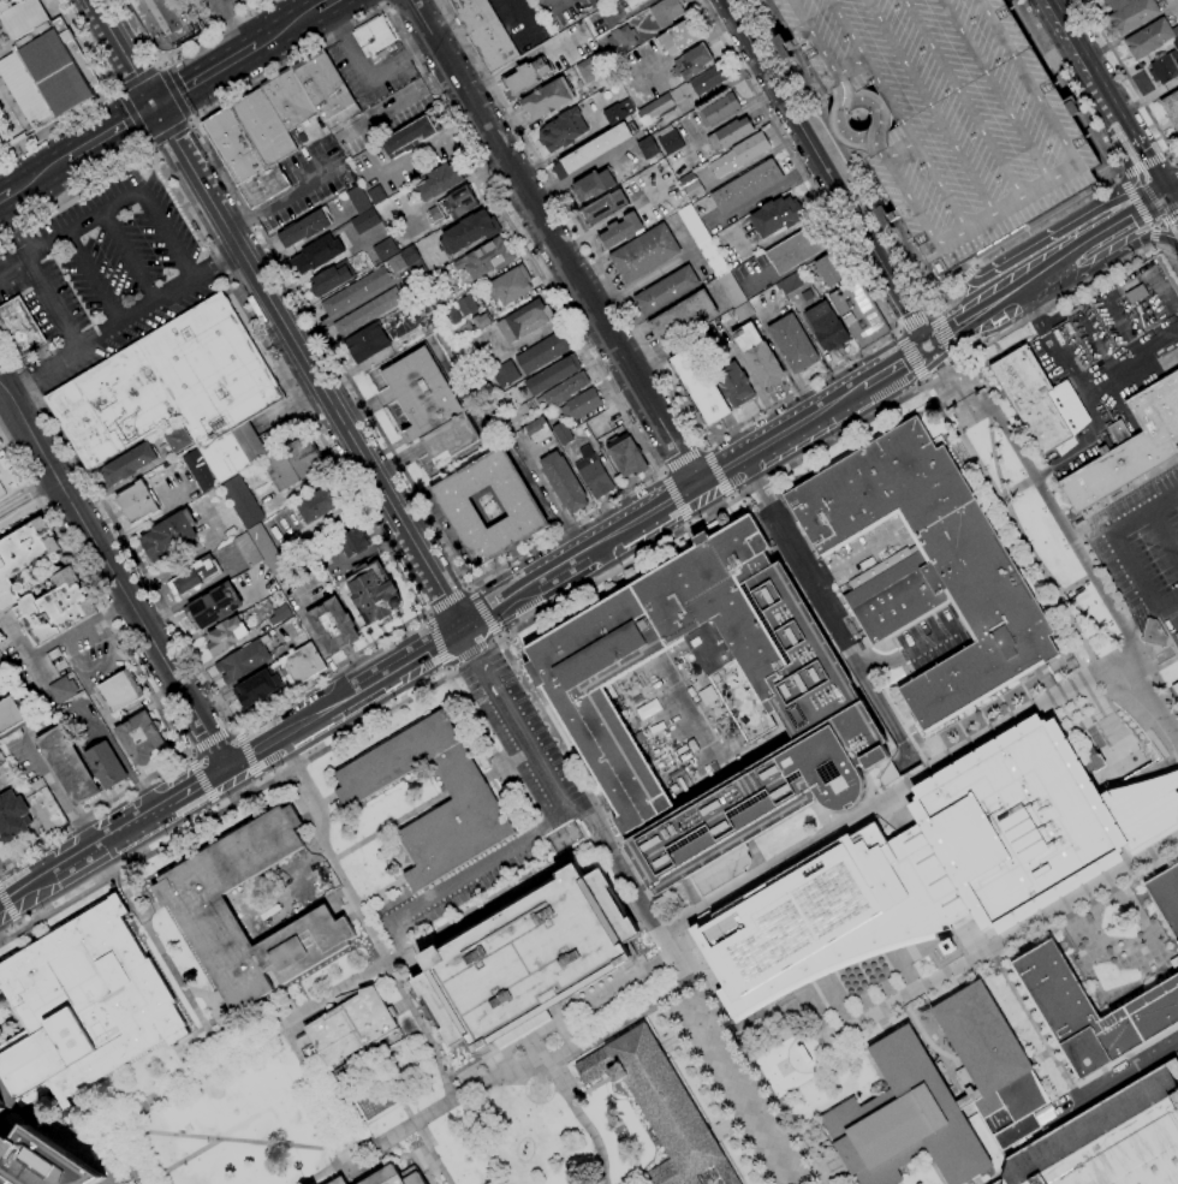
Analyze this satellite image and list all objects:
road: (389, 1)
road: (558, 2)
road: (323, 4)
building: (635, 4)
building: (1117, 4)
road: (386, 5)
parking lot: (566, 10)
parking lot: (225, 11)
building: (666, 12)
building: (1132, 14)
road: (514, 20)
building: (166, 22)
parking lot: (519, 23)
road: (233, 24)
road: (285, 28)
building: (484, 32)
building: (678, 36)
road: (1051, 36)
building: (374, 38)
building: (621, 38)
building: (1148, 38)
building: (1176, 38)
road: (822, 42)
building: (1176, 43)
building: (397, 44)
road: (1081, 48)
road: (182, 50)
road: (123, 53)
road: (522, 61)
building: (692, 63)
building: (43, 64)
road: (157, 65)
building: (541, 66)
building: (589, 69)
building: (1165, 69)
road: (365, 73)
road: (203, 76)
road: (138, 78)
building: (523, 79)
building: (707, 81)
road: (1129, 81)
road: (117, 89)
road: (1001, 91)
building: (680, 93)
road: (172, 94)
road: (708, 95)
road: (102, 96)
road: (1090, 96)
railway: (165, 99)
building: (547, 99)
railway: (169, 100)
road: (969, 100)
road: (395, 105)
traffic signals: (154, 107)
road: (936, 107)
building: (1171, 107)
building: (655, 109)
building: (718, 109)
building: (618, 112)
building: (945, 114)
parking lot: (945, 114)
road: (133, 115)
road: (903, 115)
road: (883, 118)
road: (190, 120)
road: (844, 120)
building: (276, 124)
building: (561, 130)
road: (168, 131)
building: (730, 133)
building: (410, 136)
road: (99, 139)
building: (670, 142)
road: (148, 143)
road: (1115, 144)
road: (1140, 145)
road: (427, 147)
building: (648, 148)
building: (591, 151)
road: (904, 153)
road: (1128, 153)
road: (1167, 153)
road: (132, 155)
building: (739, 155)
road: (1109, 157)
road: (844, 159)
road: (1176, 163)
road: (189, 166)
road: (1141, 166)
road: (1177, 167)
road: (827, 172)
road: (1115, 177)
road: (28, 182)
building: (439, 182)
parking lot: (305, 183)
building: (593, 185)
building: (691, 185)
building: (746, 186)
road: (1048, 186)
road: (1173, 191)
road: (1136, 192)
road: (6, 194)
road: (1156, 194)
building: (377, 195)
traffic signals: (1168, 195)
road: (1135, 196)
building: (359, 198)
road: (1134, 200)
road: (275, 202)
road: (1172, 202)
traffic signals: (1152, 203)
building: (453, 204)
road: (1153, 206)
building: (602, 208)
road: (1156, 215)
building: (777, 216)
road: (1170, 218)
road: (609, 220)
building: (364, 221)
road: (83, 222)
building: (692, 225)
road: (1150, 226)
road: (1156, 226)
building: (303, 228)
road: (14, 231)
building: (620, 231)
road: (1101, 231)
building: (469, 232)
road: (166, 233)
road: (1153, 236)
road: (1172, 237)
road: (1041, 238)
road: (554, 243)
road: (1102, 244)
road: (1152, 245)
building: (383, 249)
building: (795, 250)
building: (317, 254)
building: (644, 254)
road: (130, 255)
road: (1109, 256)
building: (712, 257)
building: (486, 258)
road: (215, 263)
road: (14, 264)
building: (395, 264)
building: (416, 266)
road: (252, 270)
building: (828, 272)
road: (965, 273)
building: (1167, 273)
parking lot: (103, 274)
road: (94, 276)
building: (331, 279)
road: (1027, 280)
building: (792, 282)
building: (510, 285)
road: (1126, 286)
road: (1047, 288)
building: (731, 290)
building: (410, 291)
building: (666, 291)
building: (355, 292)
road: (1164, 297)
road: (946, 299)
building: (438, 302)
building: (466, 305)
road: (1028, 310)
building: (743, 311)
building: (368, 313)
building: (858, 314)
road: (930, 315)
building: (450, 316)
road: (971, 317)
building: (683, 319)
building: (481, 321)
building: (524, 321)
road: (912, 323)
road: (1118, 325)
building: (19, 327)
building: (826, 327)
building: (460, 332)
road: (896, 333)
road: (944, 335)
road: (1091, 338)
road: (89, 339)
building: (367, 343)
building: (793, 344)
road: (928, 345)
traffic signals: (929, 346)
road: (928, 347)
road: (1054, 350)
building: (542, 353)
road: (911, 355)
building: (469, 356)
building: (757, 356)
parking lot: (1107, 357)
road: (1143, 357)
road: (960, 358)
road: (1119, 358)
road: (902, 363)
road: (40, 367)
building: (502, 375)
building: (553, 375)
road: (1129, 377)
road: (926, 380)
road: (1102, 380)
building: (733, 383)
building: (700, 386)
building: (565, 389)
building: (173, 392)
building: (422, 394)
road: (1082, 395)
building: (1039, 400)
building: (581, 405)
road: (1119, 409)
road: (960, 417)
road: (740, 424)
building: (537, 430)
road: (841, 433)
building: (1118, 433)
building: (561, 434)
building: (177, 438)
building: (450, 439)
road: (1084, 445)
road: (703, 447)
building: (1132, 448)
building: (626, 456)
road: (683, 459)
building: (129, 463)
building: (292, 463)
road: (734, 464)
road: (11, 468)
building: (198, 471)
road: (716, 471)
road: (1040, 471)
road: (371, 472)
building: (593, 474)
road: (656, 474)
road: (660, 474)
building: (563, 482)
road: (1013, 487)
road: (28, 492)
road: (674, 496)
road: (731, 498)
building: (137, 502)
building: (242, 502)
building: (319, 504)
building: (520, 507)
road: (1143, 512)
road: (19, 513)
road: (688, 524)
road: (1064, 531)
road: (1164, 534)
building: (168, 536)
building: (352, 542)
road: (566, 542)
parking lot: (1140, 543)
road: (1025, 545)
road: (1027, 546)
building: (248, 549)
building: (267, 549)
road: (856, 554)
building: (320, 558)
building: (928, 565)
road: (566, 569)
road: (607, 570)
road: (1131, 570)
road: (112, 575)
building: (196, 575)
road: (817, 577)
building: (69, 583)
road: (809, 583)
road: (1072, 585)
road: (468, 589)
building: (374, 593)
road: (447, 601)
road: (1166, 601)
building: (214, 606)
road: (500, 608)
road: (482, 612)
road: (427, 613)
building: (280, 614)
road: (511, 621)
building: (332, 626)
traffic signals: (464, 630)
building: (1153, 633)
building: (226, 635)
road: (498, 638)
road: (436, 639)
road: (930, 641)
road: (498, 642)
road: (420, 655)
road: (475, 658)
building: (243, 660)
road: (478, 660)
building: (303, 664)
road: (1164, 664)
road: (446, 672)
road: (451, 674)
building: (284, 676)
road: (307, 684)
building: (260, 688)
building: (63, 689)
road: (365, 689)
building: (1176, 689)
building: (1, 690)
road: (149, 690)
building: (120, 691)
road: (1045, 700)
road: (877, 707)
road: (685, 708)
building: (799, 712)
building: (10, 714)
road: (231, 730)
road: (234, 730)
road: (552, 731)
road: (288, 732)
building: (139, 738)
road: (210, 740)
road: (490, 749)
road: (248, 751)
road: (530, 752)
road: (190, 754)
road: (189, 757)
road: (714, 760)
building: (67, 766)
building: (106, 766)
road: (261, 778)
road: (201, 779)
road: (897, 790)
parking lot: (554, 791)
road: (185, 792)
road: (56, 793)
building: (470, 804)
road: (216, 805)
road: (299, 805)
building: (44, 807)
road: (311, 808)
road: (222, 809)
road: (853, 811)
road: (578, 816)
building: (12, 817)
road: (537, 825)
road: (388, 828)
road: (119, 831)
road: (85, 851)
road: (755, 857)
road: (333, 863)
road: (64, 864)
building: (936, 865)
road: (464, 875)
road: (626, 876)
road: (23, 887)
road: (377, 891)
road: (691, 896)
building: (1166, 897)
road: (8, 906)
building: (202, 911)
road: (1042, 923)
road: (19, 924)
road: (673, 954)
building: (526, 960)
road: (971, 962)
road: (171, 964)
road: (688, 972)
road: (615, 986)
road: (323, 996)
building: (83, 1006)
building: (1091, 1011)
road: (216, 1013)
road: (212, 1019)
building: (350, 1024)
road: (1035, 1028)
road: (422, 1029)
road: (679, 1034)
road: (533, 1049)
building: (992, 1065)
fountain: (783, 1066)
building: (344, 1069)
road: (448, 1077)
road: (1123, 1079)
road: (734, 1082)
road: (314, 1087)
road: (589, 1088)
road: (471, 1095)
road: (399, 1100)
building: (1, 1107)
building: (662, 1109)
road: (41, 1117)
building: (904, 1120)
road: (582, 1121)
road: (391, 1136)
building: (1111, 1140)
building: (1025, 1141)
building: (41, 1161)
road: (184, 1161)
road: (335, 1167)
road: (117, 1170)
building: (391, 1177)
building: (338, 1180)
road: (635, 1182)

